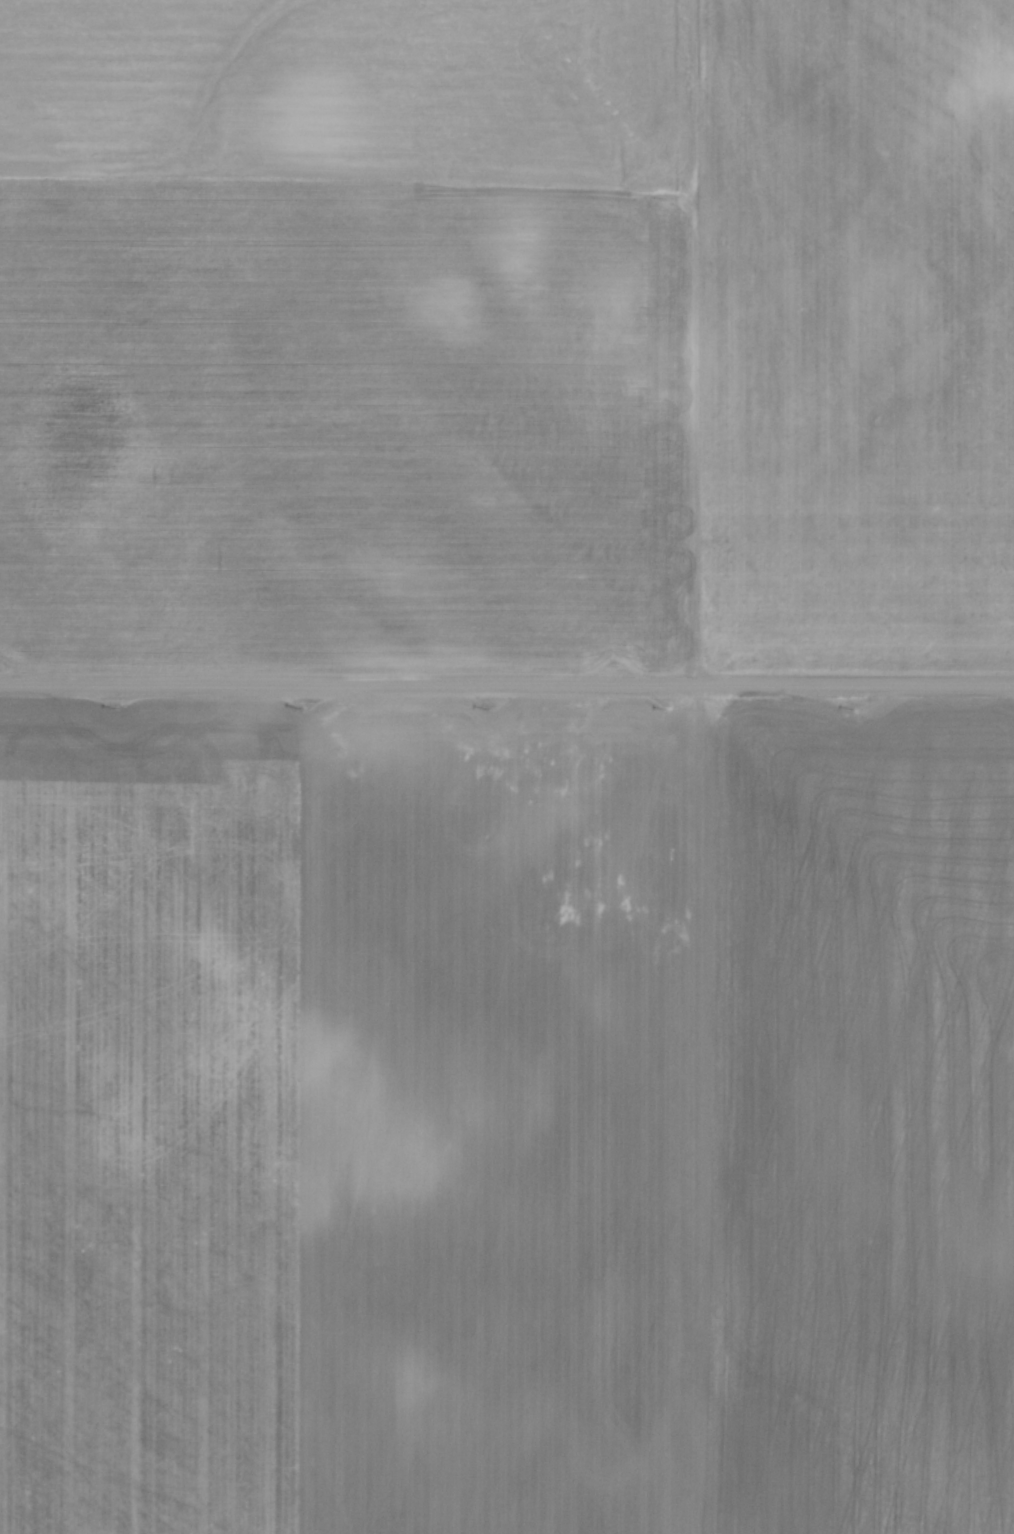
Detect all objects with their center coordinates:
crop: (507, 332)
road: (507, 689)
crop: (506, 1121)

